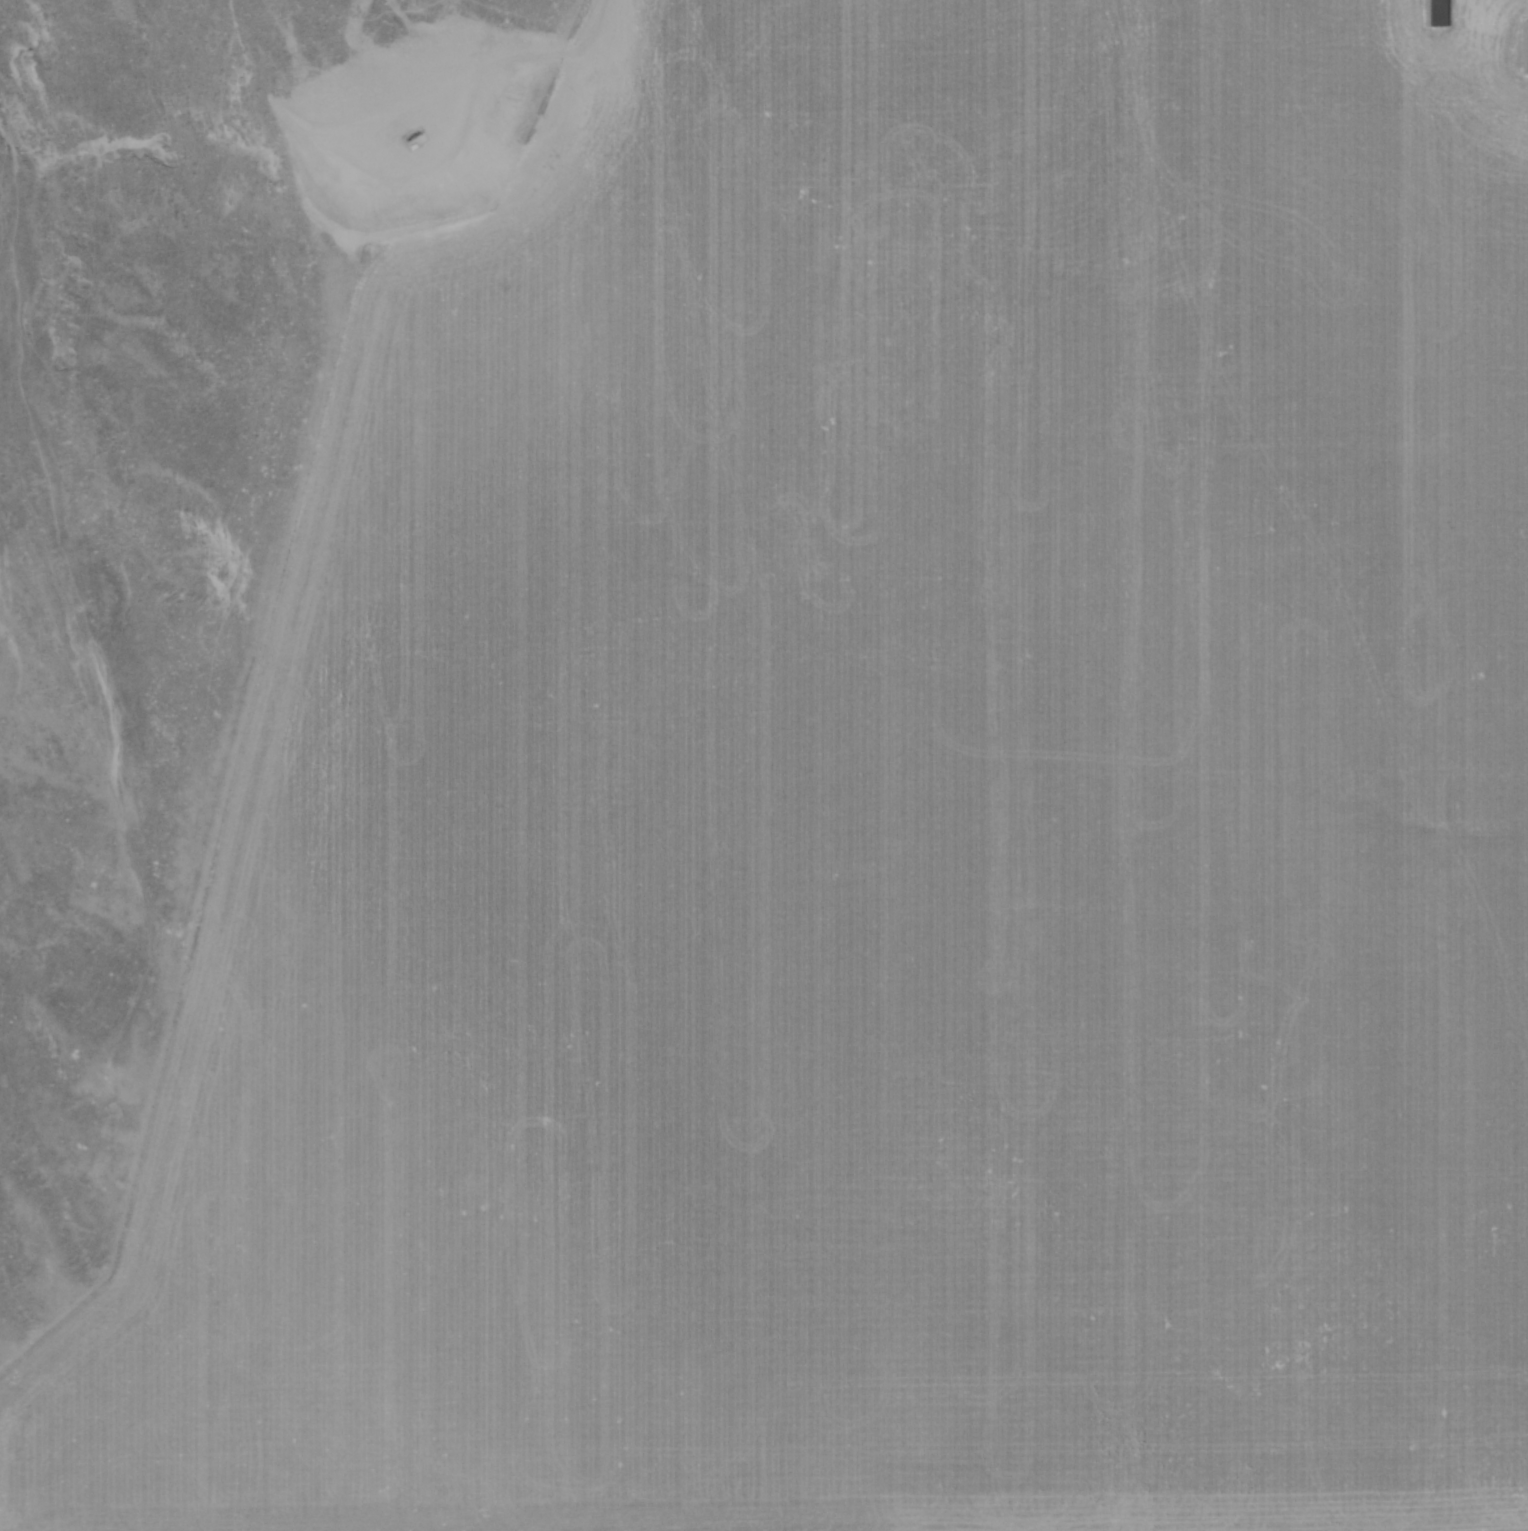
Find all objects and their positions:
building: (1438, 13)
building: (1526, 47)

